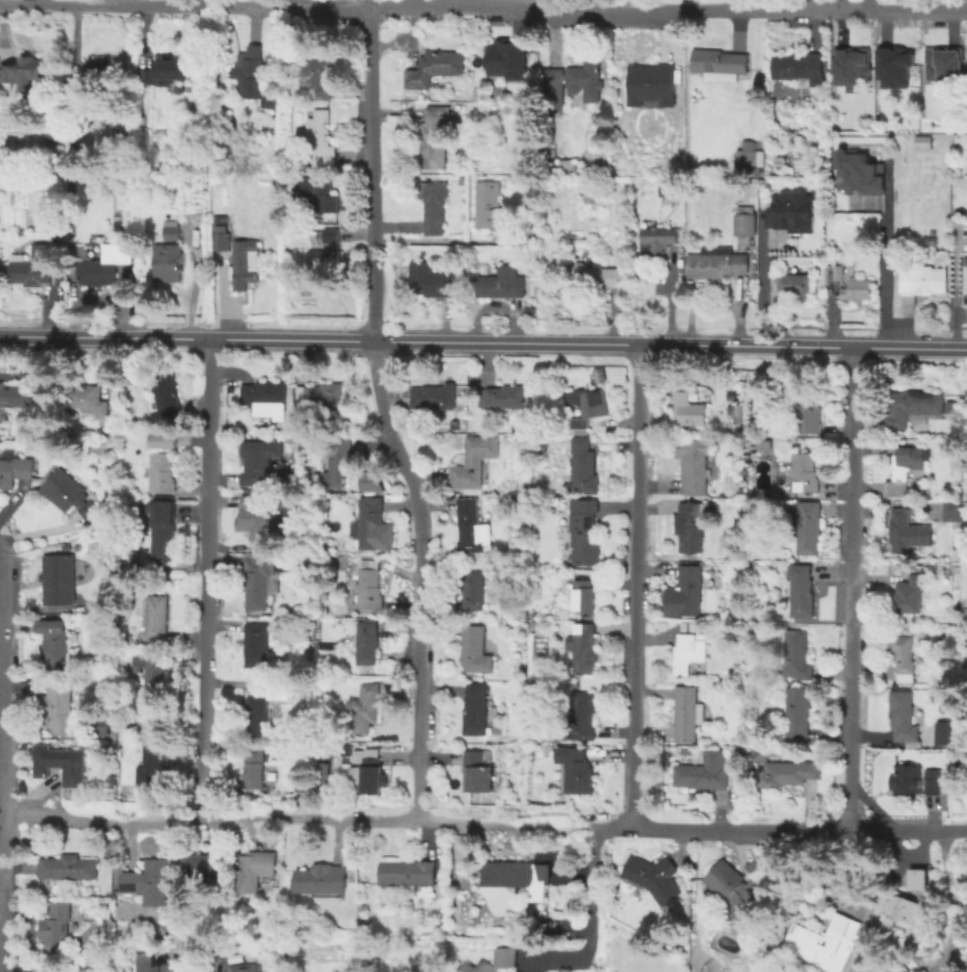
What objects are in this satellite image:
road: (545, 4)
road: (631, 4)
road: (838, 5)
road: (483, 7)
building: (509, 60)
building: (719, 64)
building: (891, 65)
building: (801, 67)
building: (849, 67)
building: (436, 69)
building: (943, 70)
building: (101, 71)
building: (24, 73)
building: (167, 73)
building: (320, 77)
building: (251, 78)
building: (571, 83)
building: (653, 87)
building: (78, 94)
building: (271, 102)
building: (145, 121)
building: (320, 138)
building: (438, 141)
building: (922, 142)
building: (749, 160)
building: (567, 165)
building: (861, 169)
road: (371, 174)
building: (669, 189)
building: (322, 192)
building: (435, 207)
building: (493, 207)
building: (791, 208)
building: (0, 217)
building: (745, 223)
building: (171, 231)
building: (331, 237)
building: (221, 239)
building: (657, 241)
building: (167, 259)
building: (323, 262)
building: (244, 263)
building: (716, 264)
building: (106, 265)
building: (32, 268)
building: (839, 274)
building: (598, 277)
building: (431, 279)
building: (966, 279)
road: (882, 281)
building: (920, 282)
building: (502, 284)
road: (760, 285)
building: (797, 285)
building: (859, 291)
road: (954, 293)
road: (668, 303)
road: (960, 315)
road: (483, 343)
building: (596, 374)
building: (319, 396)
building: (435, 396)
building: (16, 397)
building: (503, 398)
building: (90, 399)
building: (164, 399)
building: (262, 402)
building: (913, 407)
building: (589, 408)
building: (691, 408)
building: (739, 413)
building: (812, 417)
building: (161, 439)
building: (761, 444)
building: (338, 460)
building: (258, 462)
building: (475, 462)
building: (585, 466)
building: (692, 466)
building: (906, 470)
building: (15, 472)
building: (804, 473)
building: (163, 475)
building: (372, 482)
building: (69, 495)
building: (951, 511)
building: (260, 515)
building: (372, 523)
building: (692, 526)
building: (473, 527)
building: (808, 528)
building: (906, 529)
building: (162, 531)
building: (586, 531)
road: (419, 577)
road: (207, 579)
building: (55, 581)
building: (260, 581)
building: (371, 586)
road: (634, 587)
road: (851, 588)
building: (475, 590)
building: (690, 590)
building: (802, 590)
building: (325, 594)
building: (910, 595)
building: (584, 597)
building: (523, 614)
building: (157, 619)
building: (539, 631)
building: (56, 643)
building: (368, 643)
building: (257, 644)
building: (328, 646)
building: (475, 650)
building: (690, 650)
building: (586, 651)
building: (797, 656)
building: (905, 657)
building: (154, 677)
building: (59, 706)
building: (364, 710)
building: (260, 711)
building: (477, 711)
building: (688, 714)
building: (798, 714)
building: (584, 715)
building: (904, 718)
road: (2, 720)
building: (137, 724)
building: (943, 732)
road: (5, 756)
building: (154, 760)
building: (61, 763)
building: (254, 770)
building: (577, 770)
building: (478, 772)
building: (706, 772)
building: (790, 773)
building: (371, 776)
building: (918, 779)
building: (302, 784)
road: (451, 818)
road: (210, 820)
road: (782, 828)
building: (69, 867)
building: (207, 867)
building: (256, 870)
building: (407, 873)
building: (541, 873)
building: (965, 873)
building: (511, 874)
building: (656, 876)
building: (323, 879)
building: (150, 881)
building: (740, 889)
road: (589, 890)
building: (900, 899)
road: (948, 899)
road: (2, 910)
building: (58, 927)
building: (827, 943)
road: (188, 952)
building: (505, 959)
building: (156, 963)
building: (244, 968)
building: (46, 970)

